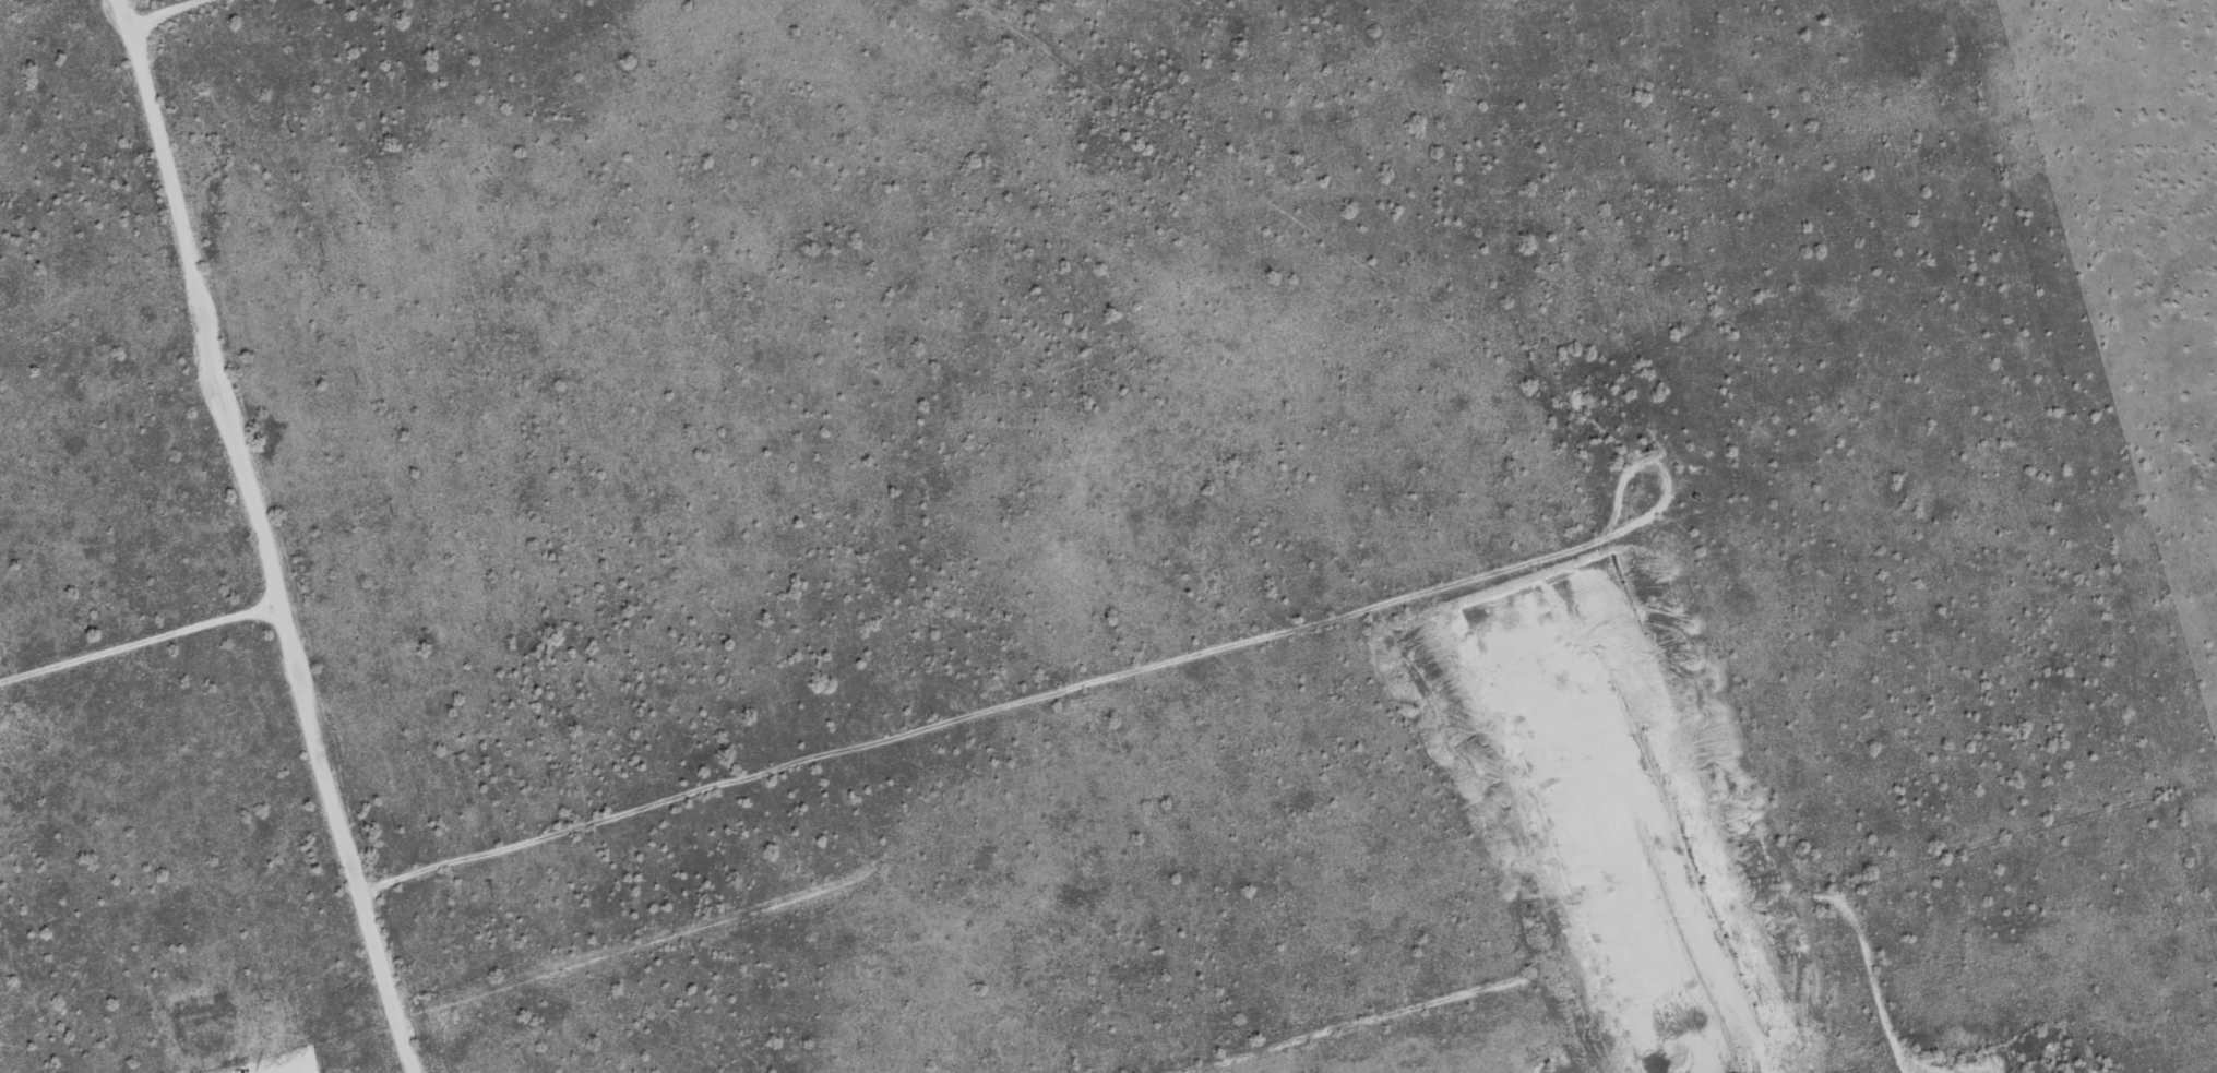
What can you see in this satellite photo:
road: (261, 537)

